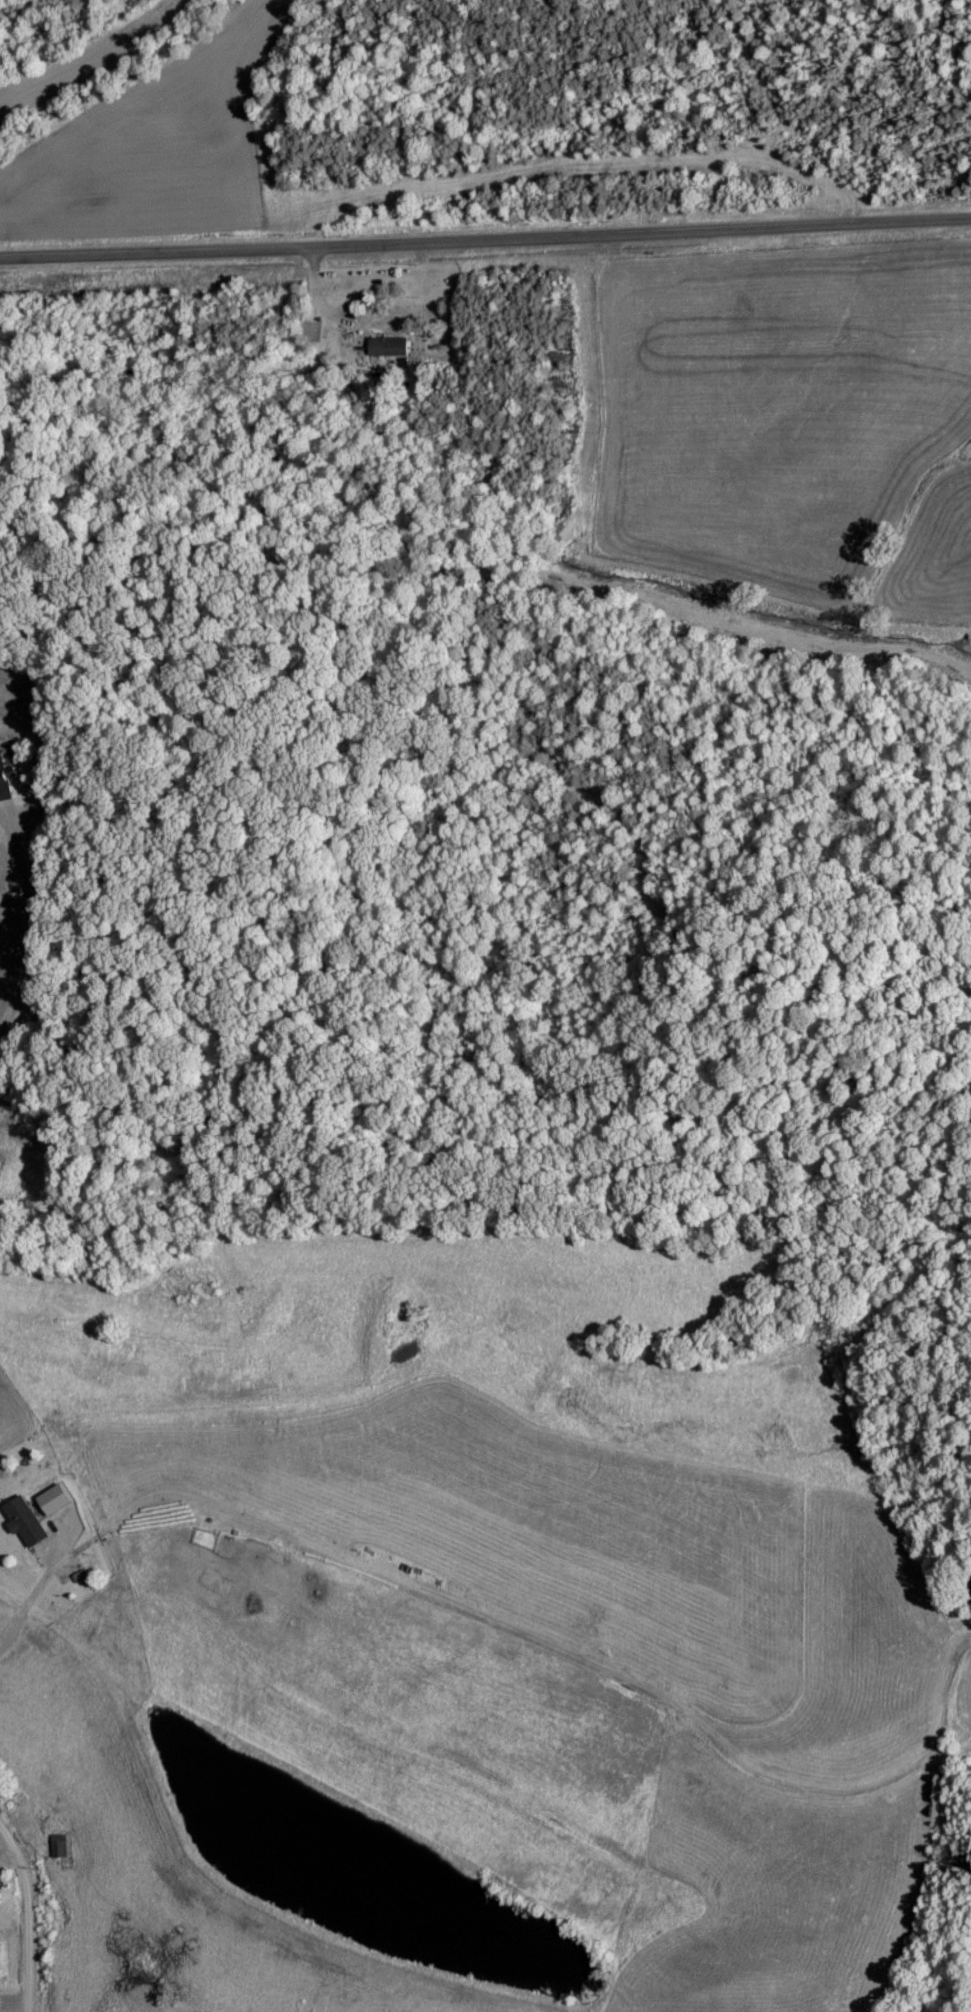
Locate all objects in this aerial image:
road: (485, 237)
building: (386, 346)
building: (3, 783)
road: (26, 925)
building: (23, 1520)
road: (34, 1588)
building: (56, 1844)
road: (22, 1919)

